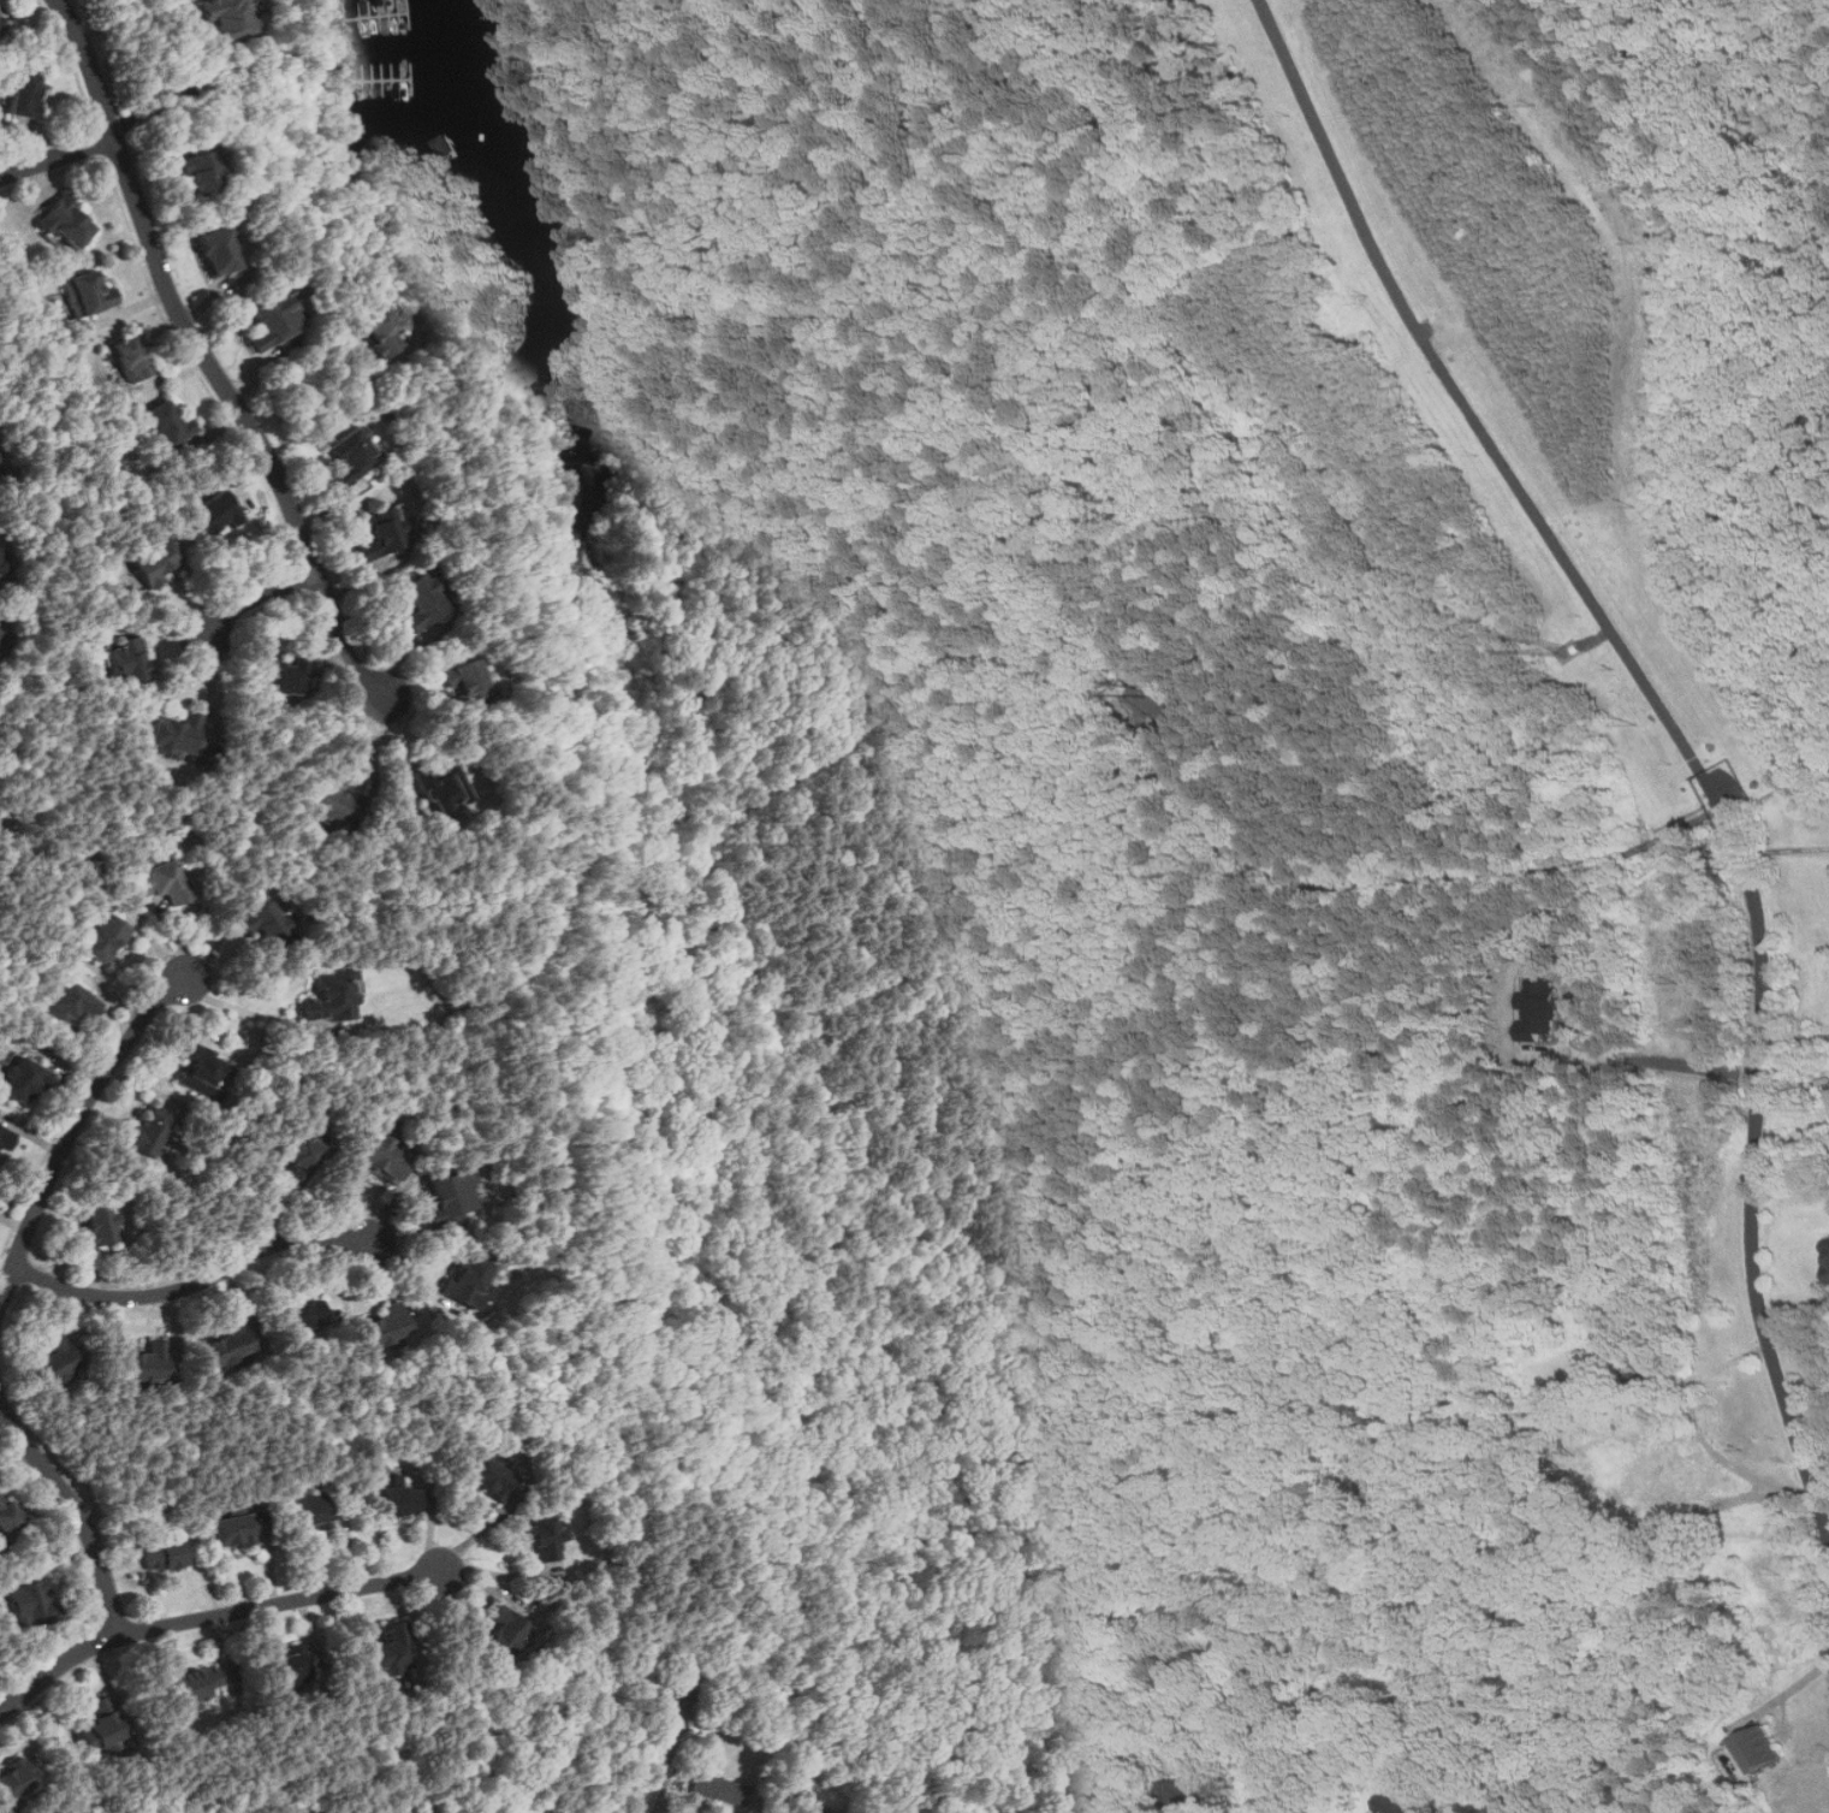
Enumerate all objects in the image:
building: (2, 16)
road: (123, 16)
building: (222, 17)
building: (20, 93)
road: (58, 158)
building: (198, 170)
building: (61, 219)
building: (214, 249)
building: (88, 291)
building: (267, 318)
building: (378, 331)
building: (124, 356)
road: (208, 357)
road: (339, 410)
building: (162, 421)
building: (348, 452)
building: (209, 511)
building: (381, 527)
building: (153, 561)
road: (260, 600)
building: (417, 600)
building: (125, 658)
building: (281, 675)
building: (461, 679)
road: (209, 703)
road: (1675, 727)
building: (172, 734)
road: (372, 760)
building: (437, 788)
building: (331, 802)
road: (1786, 851)
building: (164, 882)
building: (271, 925)
building: (105, 940)
building: (332, 995)
building: (72, 1003)
road: (236, 1006)
road: (1795, 1038)
road: (1670, 1061)
building: (202, 1070)
building: (23, 1080)
road: (73, 1126)
building: (149, 1131)
building: (6, 1140)
building: (298, 1155)
building: (379, 1159)
building: (446, 1196)
building: (97, 1225)
building: (1827, 1248)
building: (1828, 1272)
building: (467, 1280)
road: (196, 1282)
building: (301, 1315)
building: (386, 1327)
building: (230, 1343)
building: (57, 1361)
building: (147, 1363)
building: (1645, 1376)
building: (489, 1477)
building: (397, 1501)
road: (77, 1506)
building: (310, 1511)
building: (7, 1516)
building: (231, 1531)
building: (545, 1536)
building: (164, 1557)
building: (32, 1604)
road: (210, 1616)
building: (504, 1629)
building: (391, 1649)
building: (289, 1666)
building: (198, 1683)
road: (1789, 1689)
building: (100, 1725)
building: (1759, 1748)
building: (13, 1778)
road: (1126, 1781)
building: (1188, 1793)
building: (1399, 1803)
building: (810, 1807)

